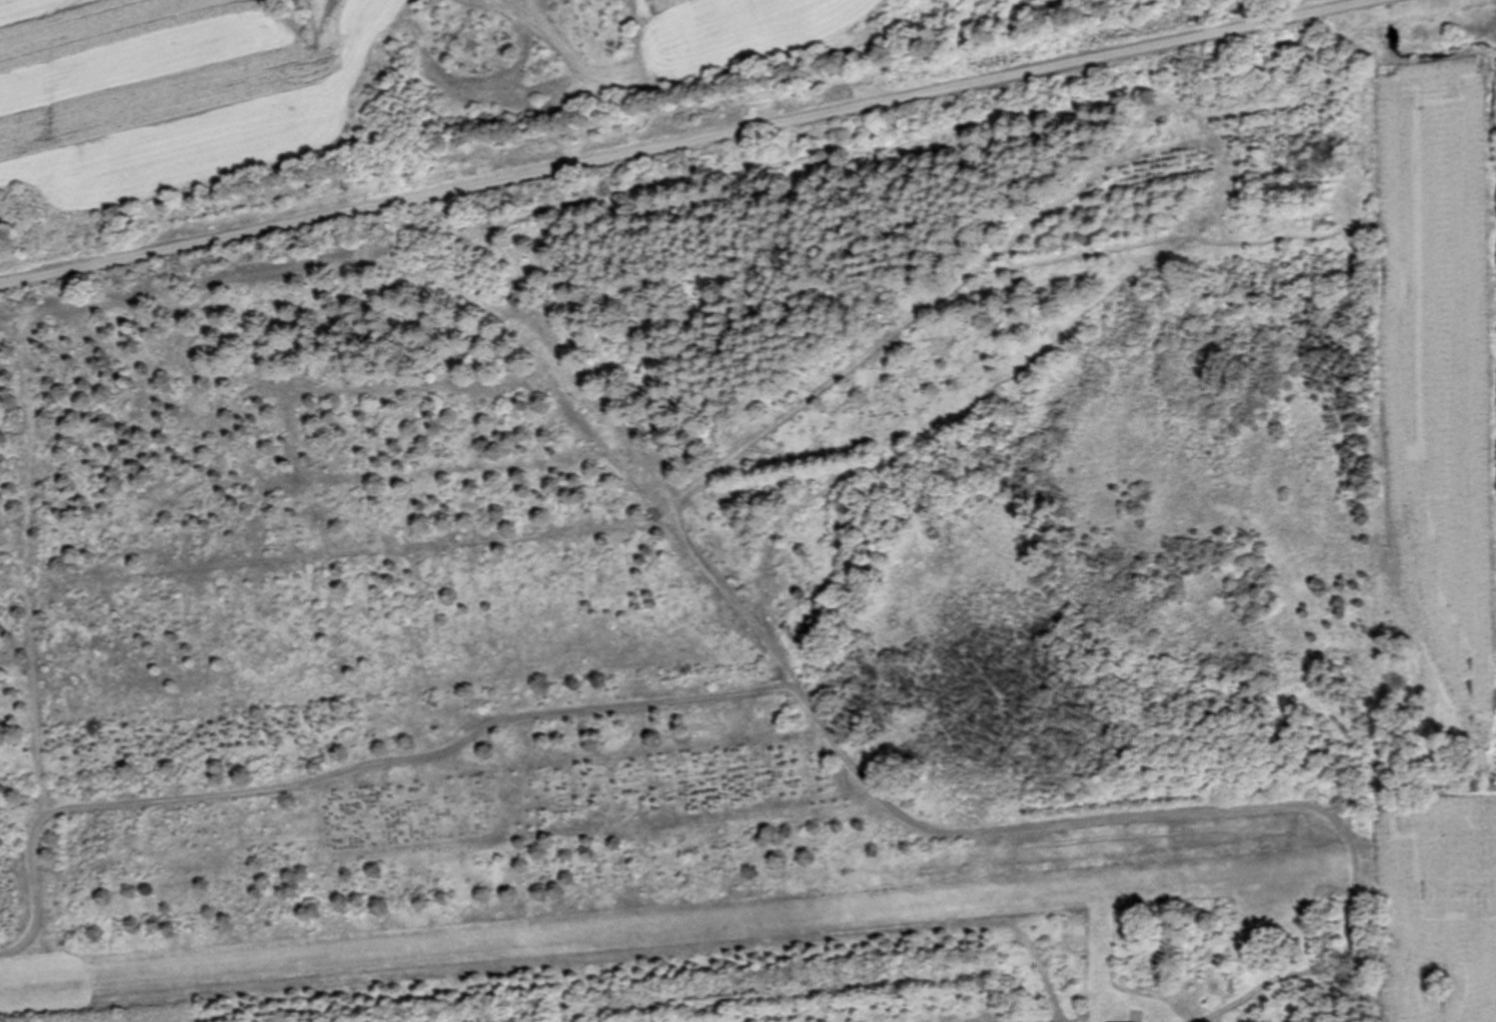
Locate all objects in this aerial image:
road: (683, 141)
airport runway: (652, 930)

